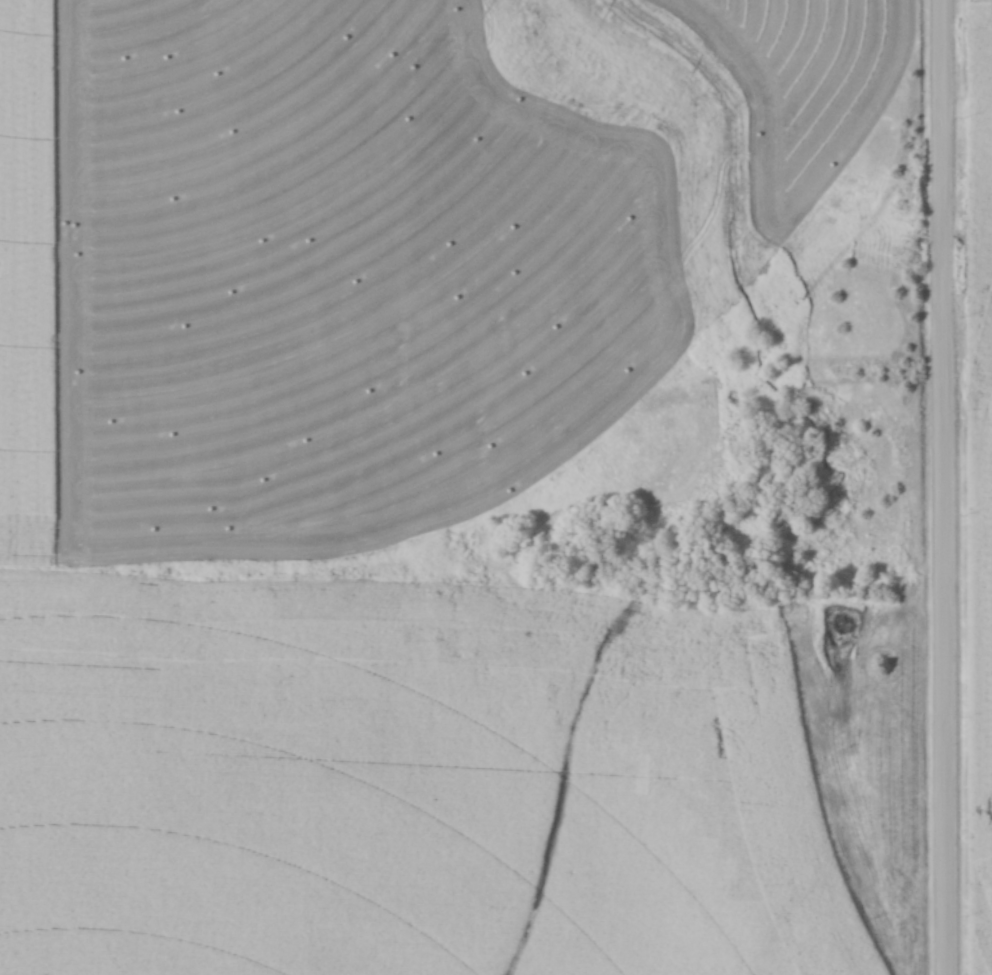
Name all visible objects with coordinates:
road: (941, 487)

